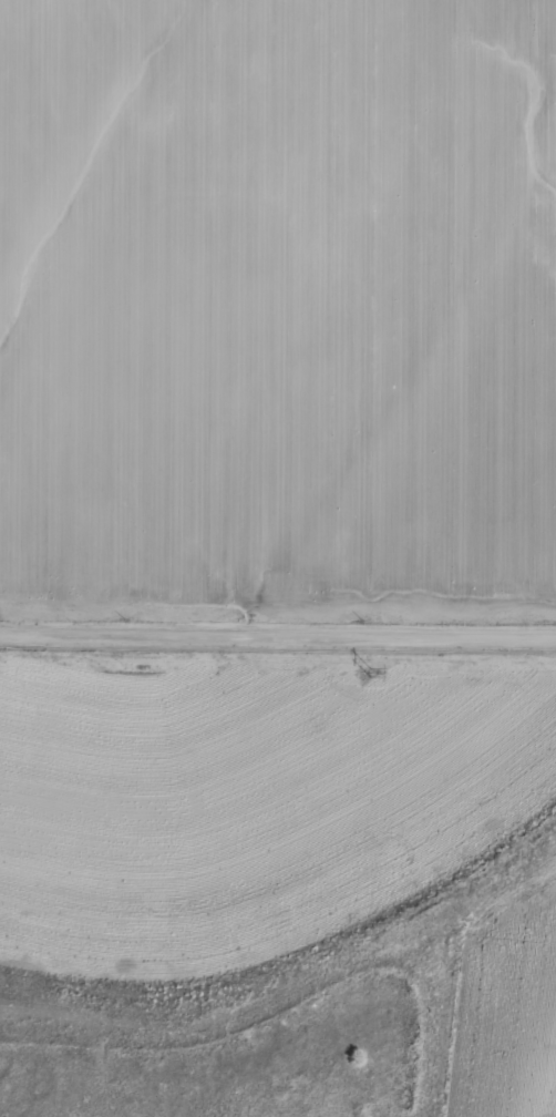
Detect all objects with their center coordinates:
road: (278, 636)
power tower: (372, 673)

